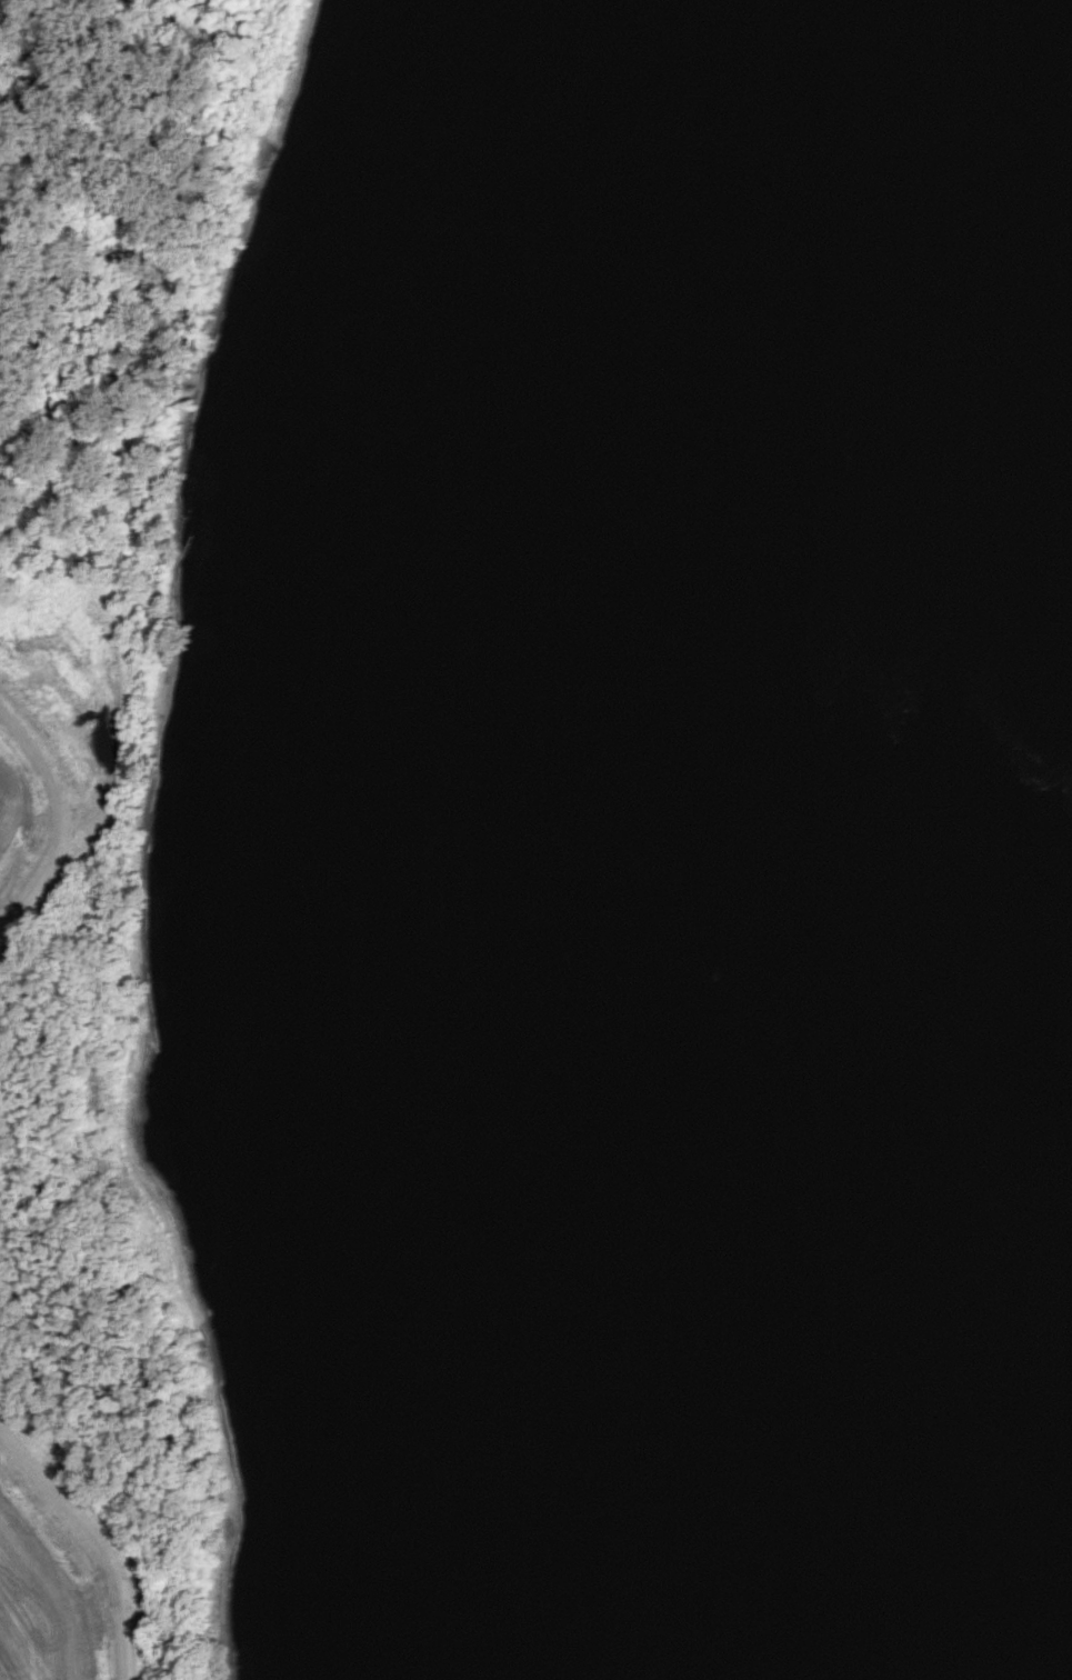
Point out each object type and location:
crop: (8, 804)
road: (58, 818)
river: (660, 840)
road: (96, 1537)
crop: (39, 1609)

